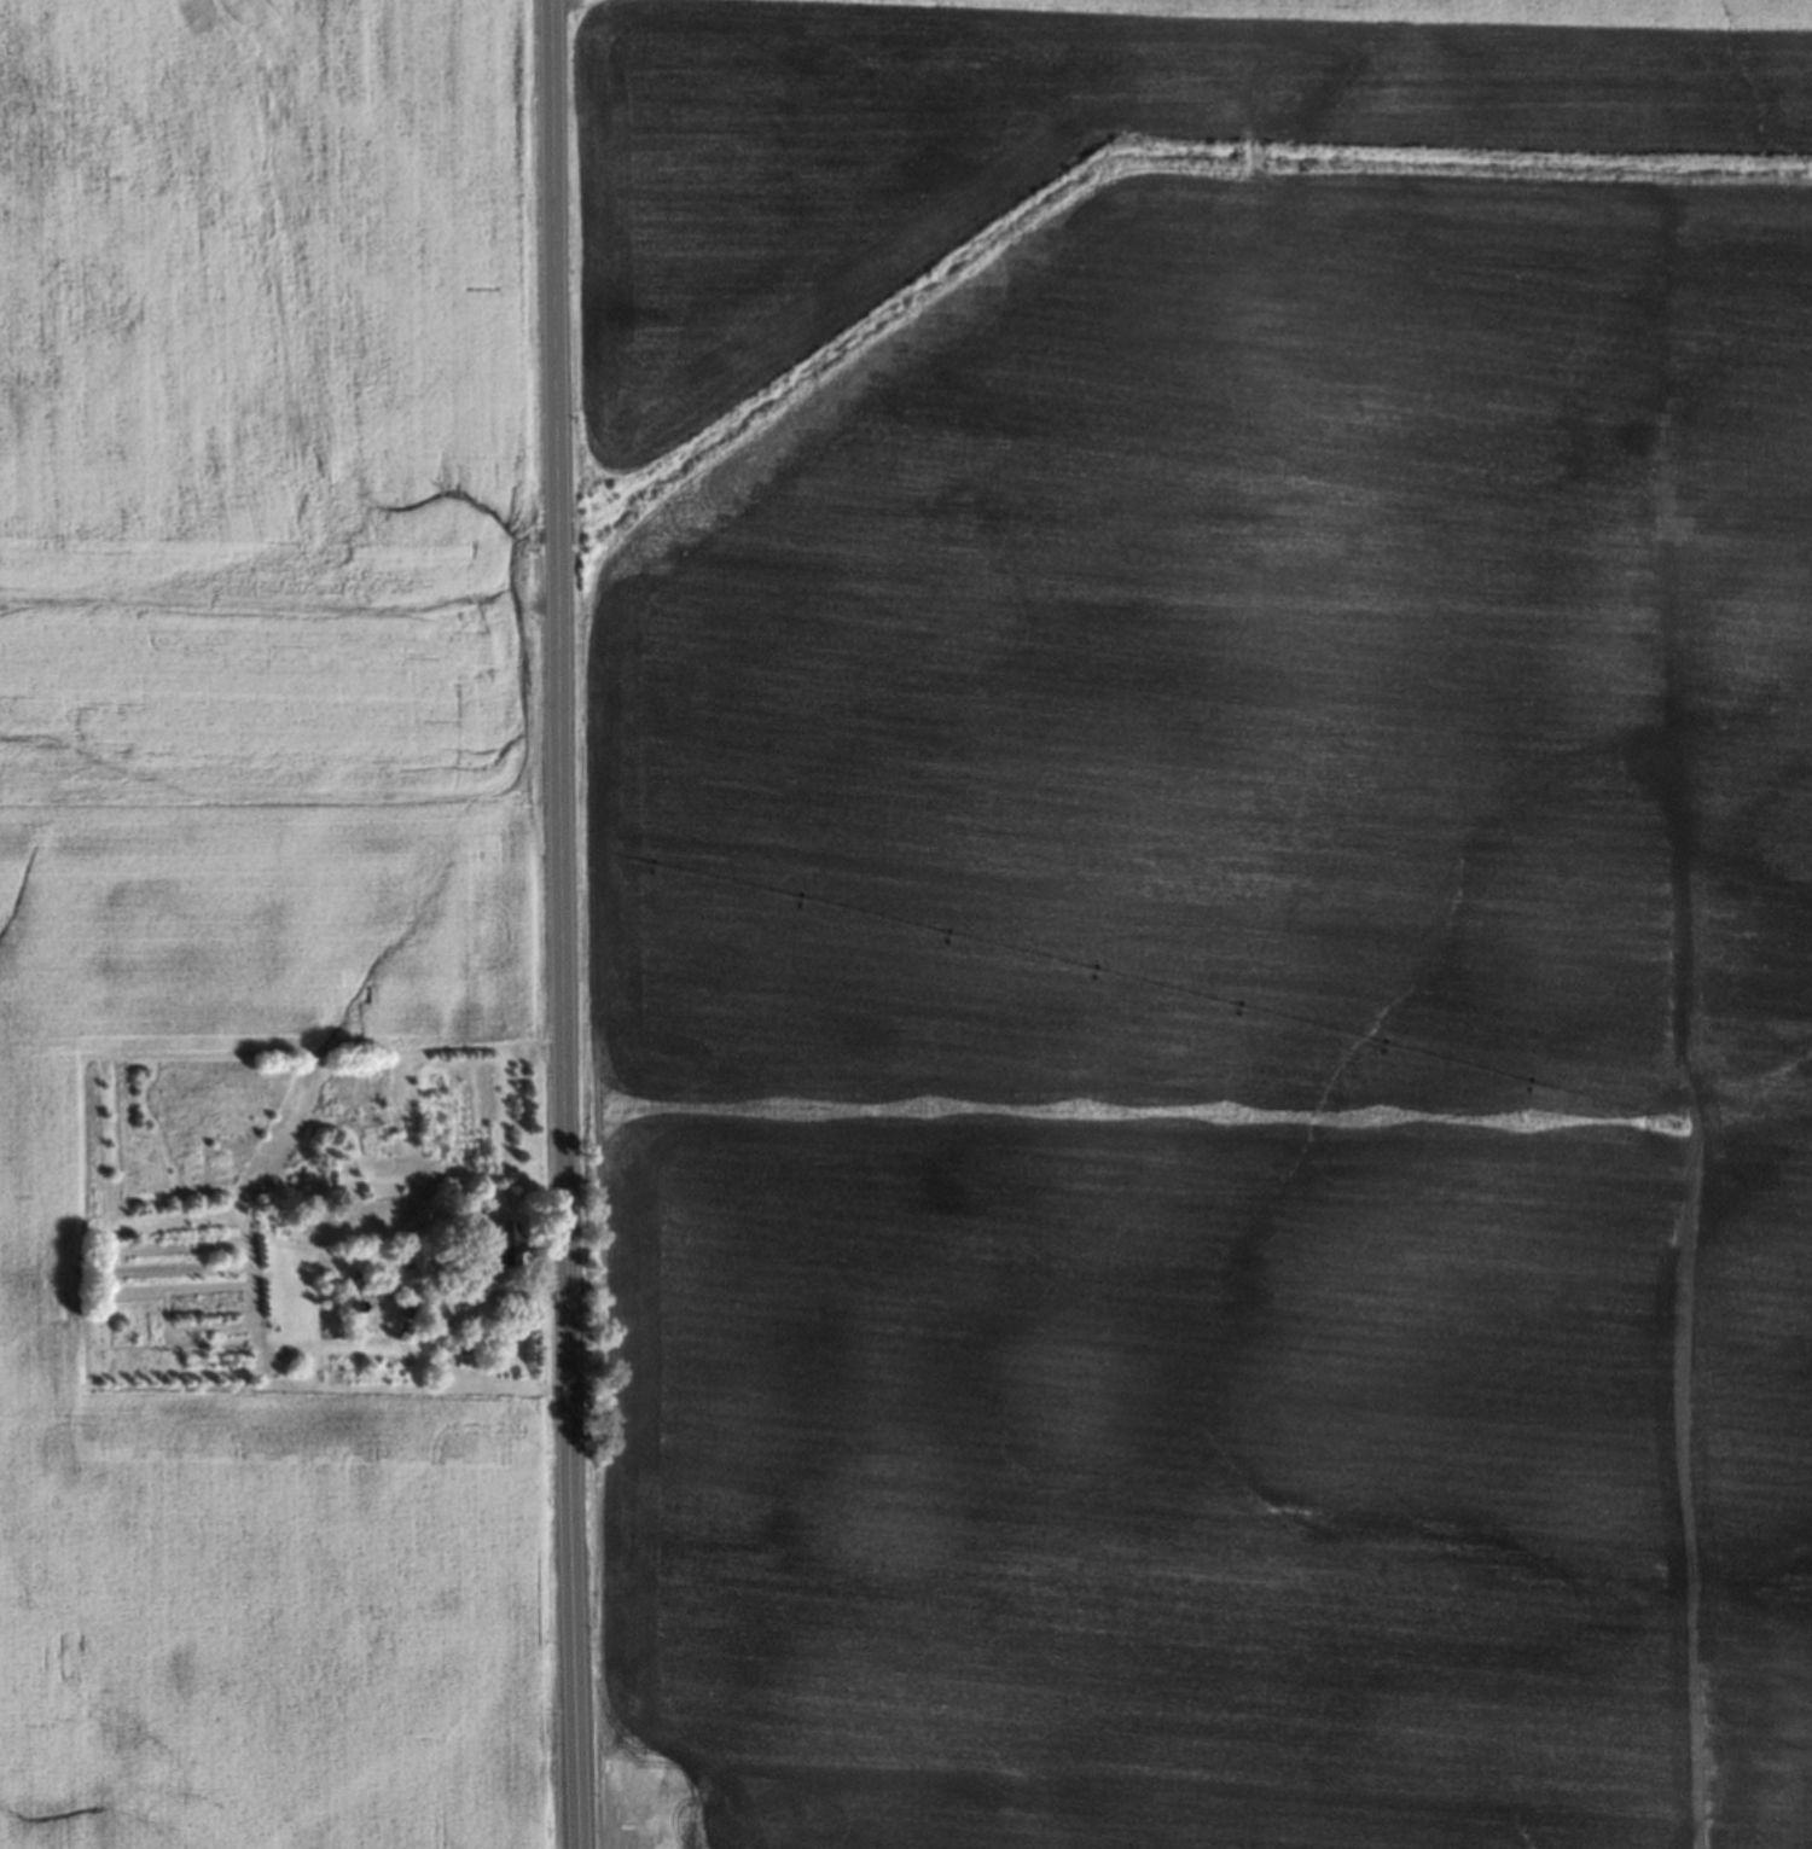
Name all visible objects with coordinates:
crop: (1359, 10)
crop: (1027, 149)
crop: (246, 283)
crop: (249, 691)
road: (561, 924)
crop: (1742, 988)
crop: (1154, 1059)
crop: (31, 1223)
building: (499, 1243)
building: (461, 1255)
building: (367, 1284)
building: (348, 1306)
building: (410, 1308)
building: (402, 1327)
building: (455, 1341)

